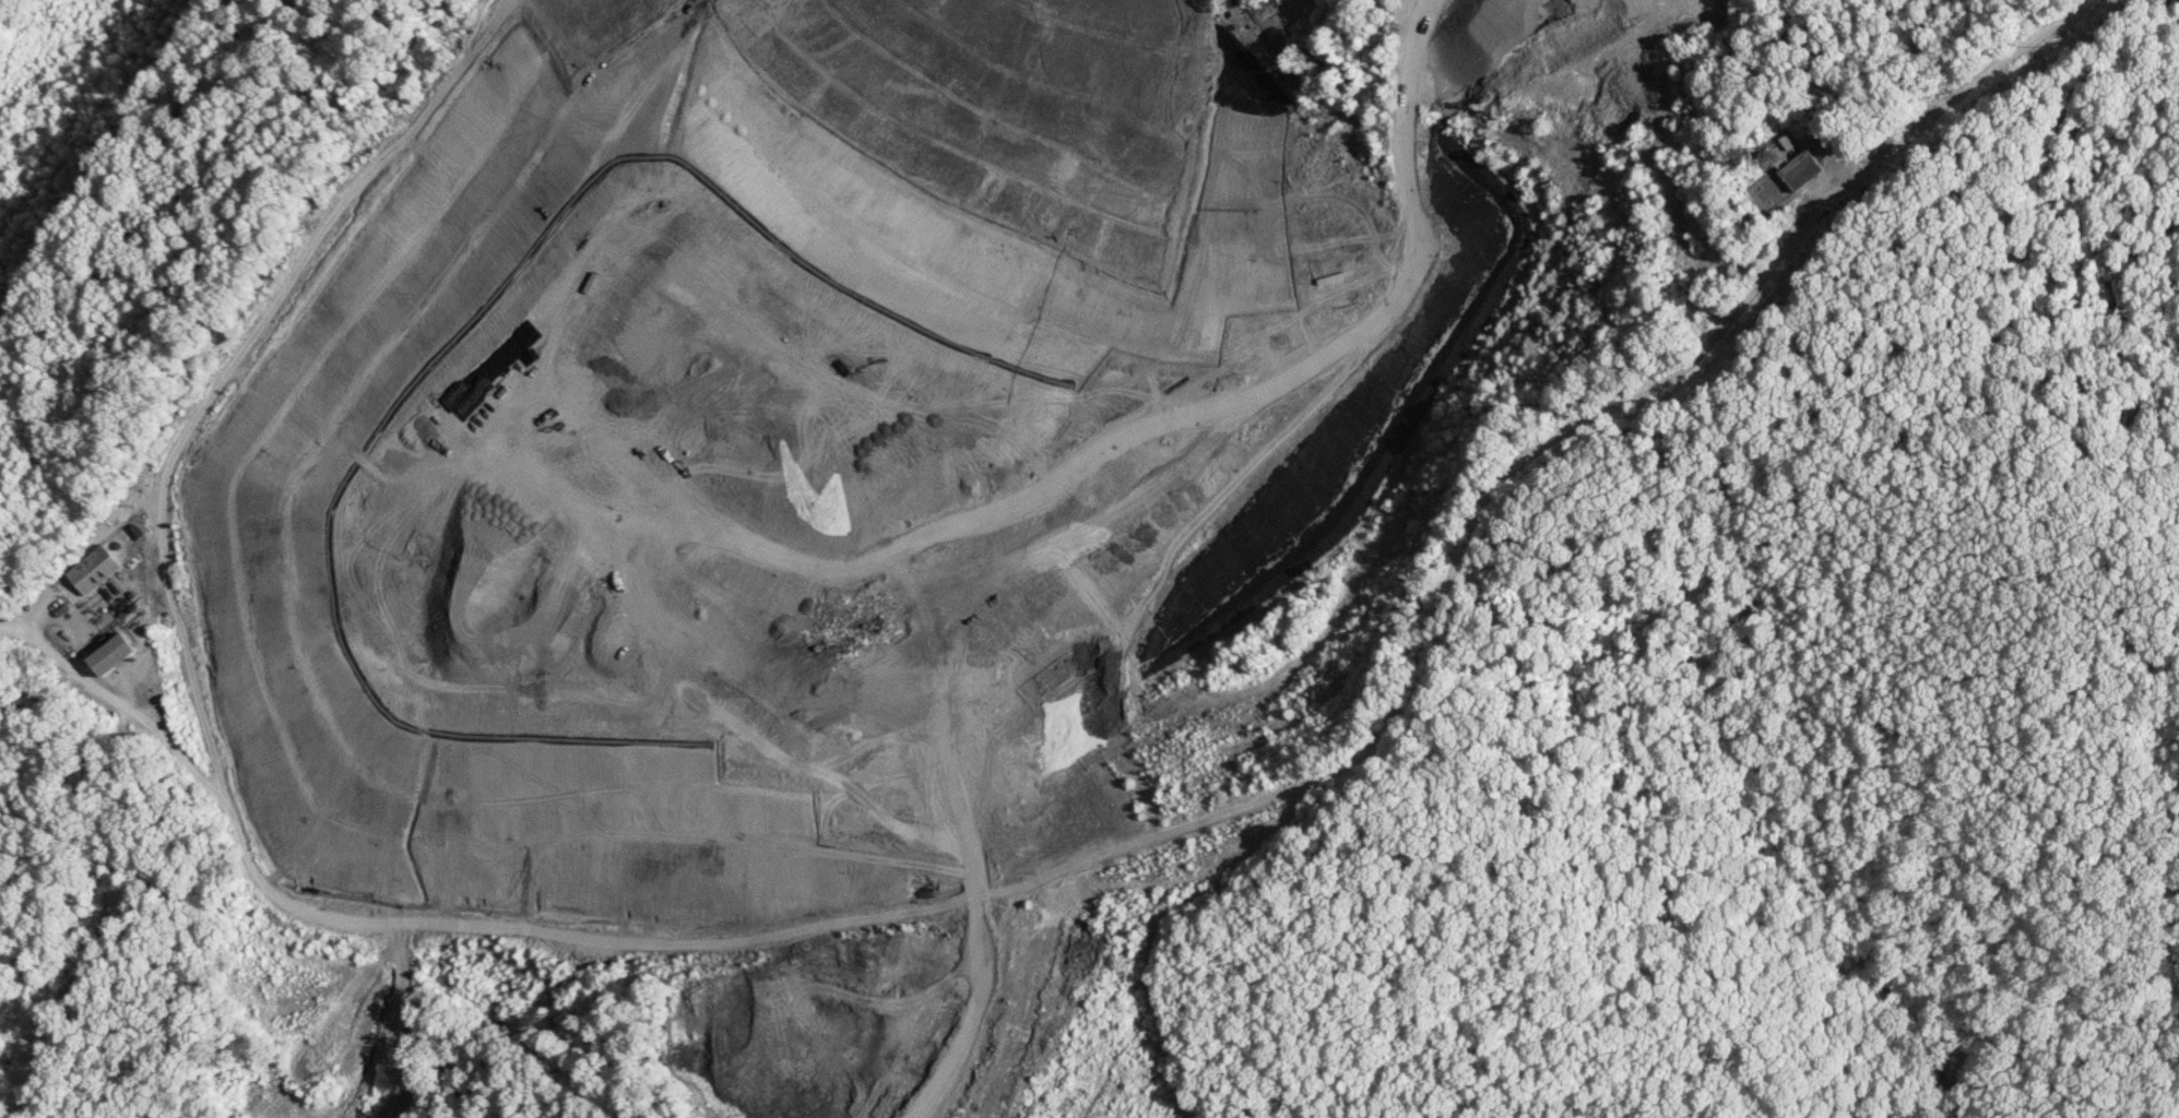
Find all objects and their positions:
road: (968, 52)
road: (1056, 102)
building: (1800, 168)
road: (260, 321)
road: (1229, 478)
landfill: (903, 503)
building: (94, 568)
building: (84, 620)
building: (112, 653)
road: (1161, 840)
road: (112, 904)

